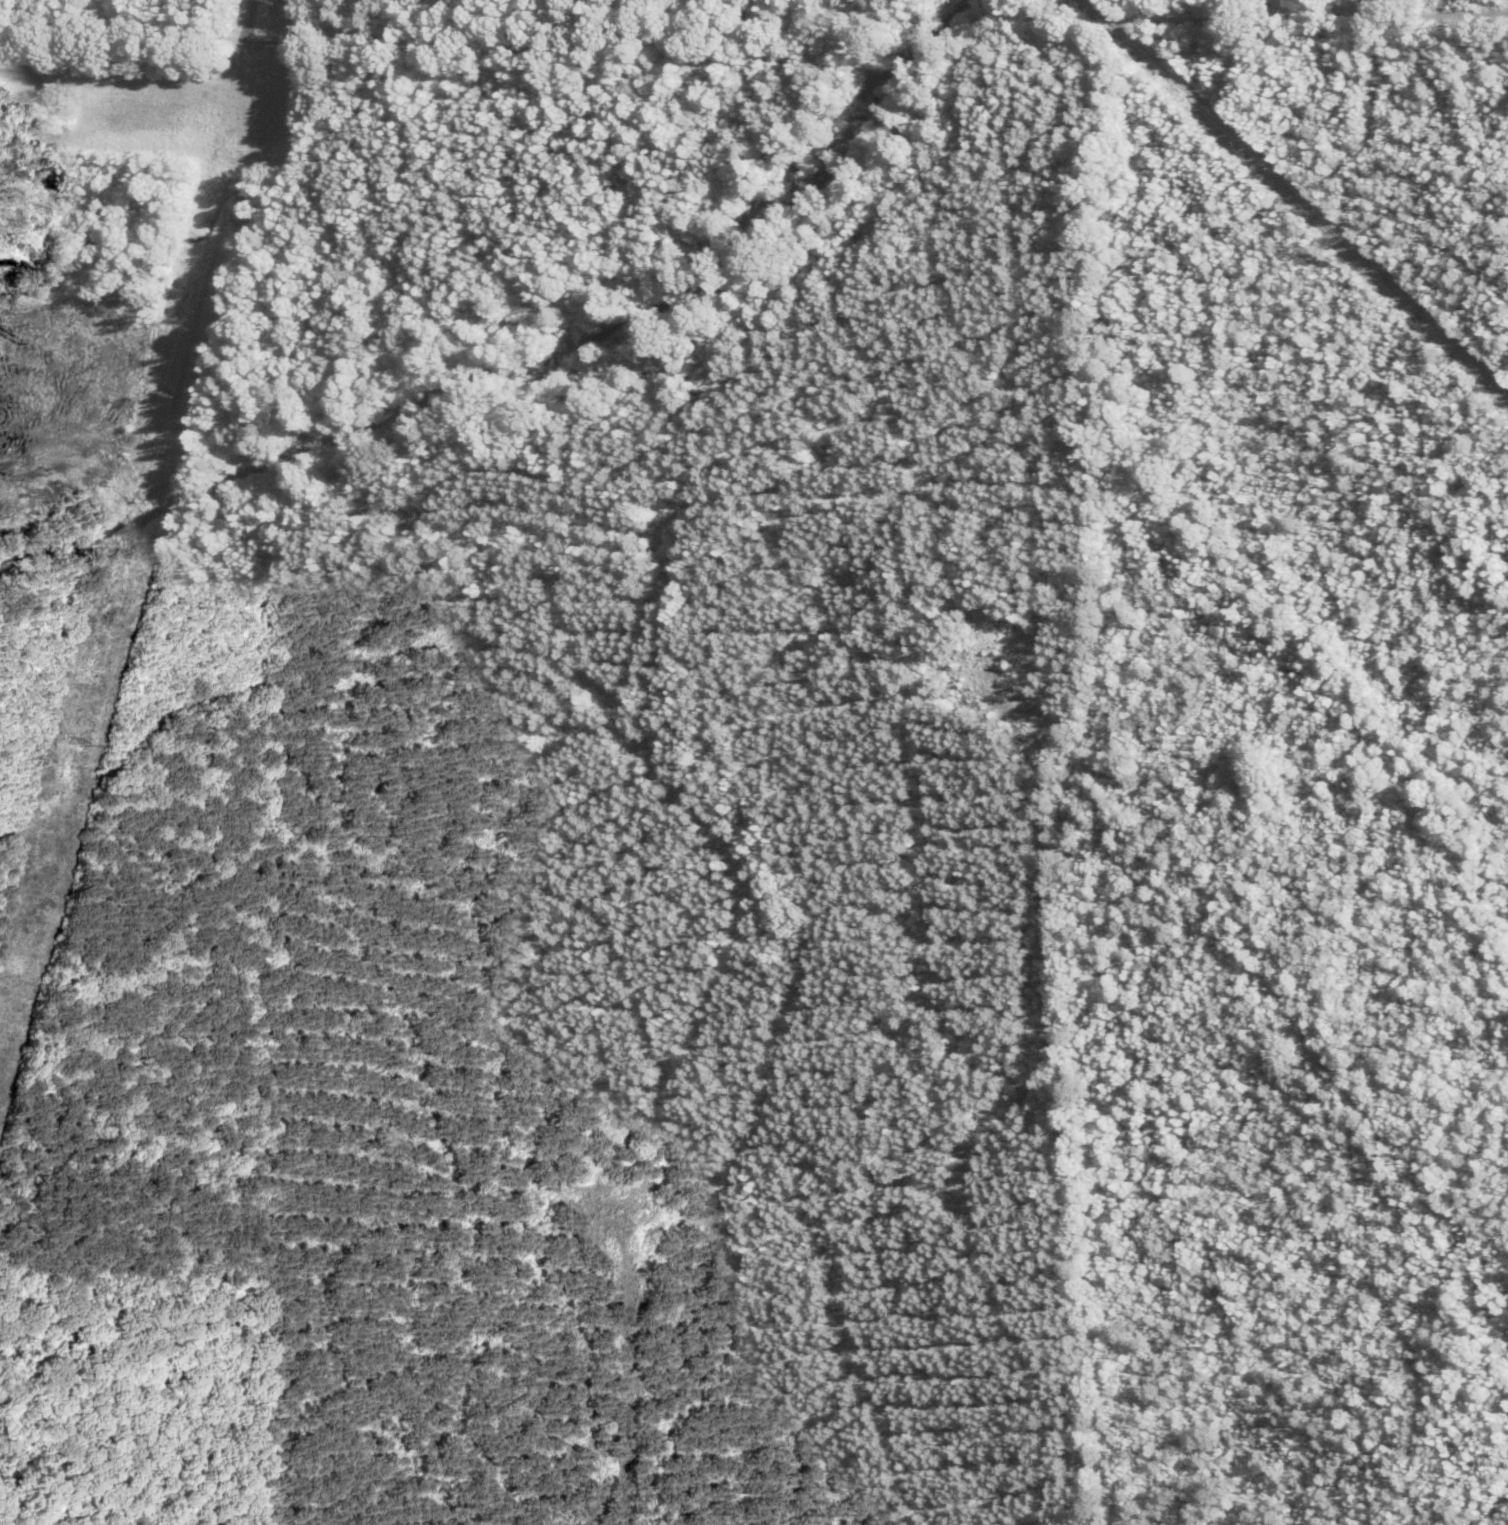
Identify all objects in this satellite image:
building: (30, 120)
power tower: (169, 389)
power tower: (75, 741)

